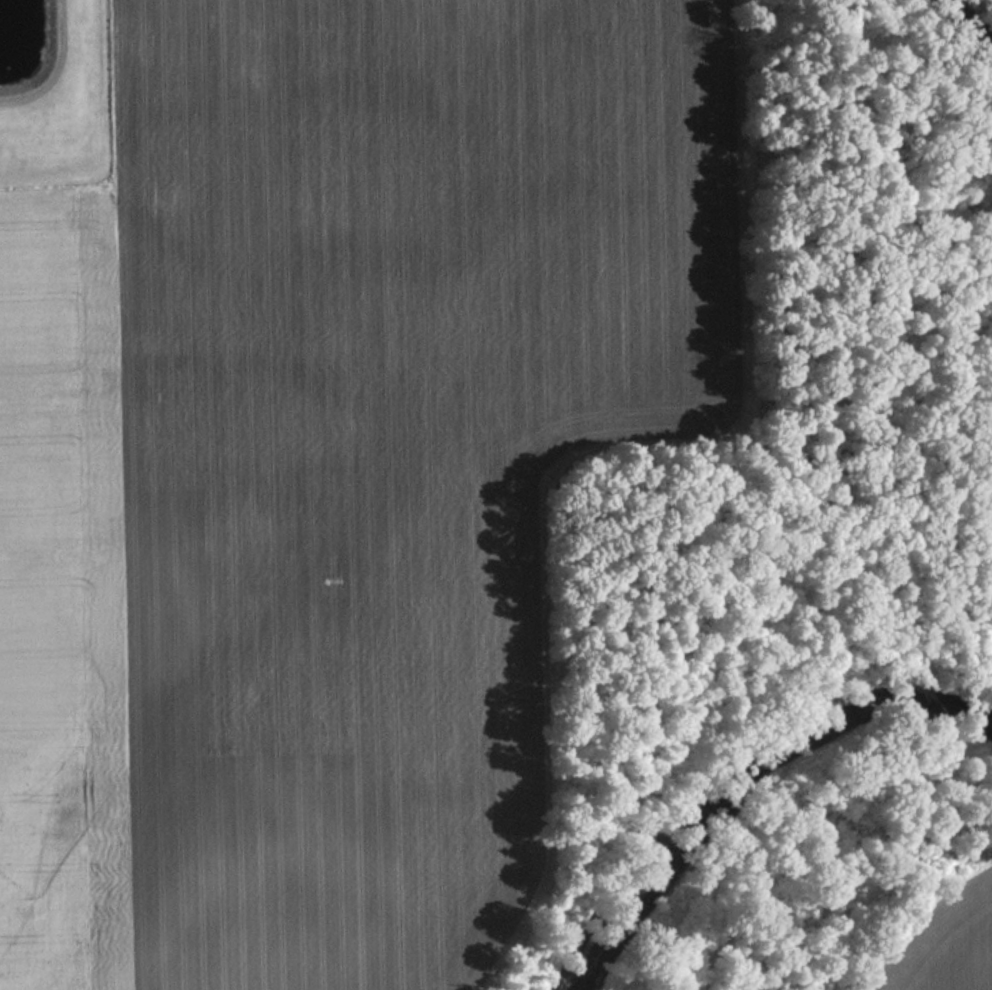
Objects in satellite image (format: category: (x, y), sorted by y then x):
river: (970, 23)
river: (754, 789)

